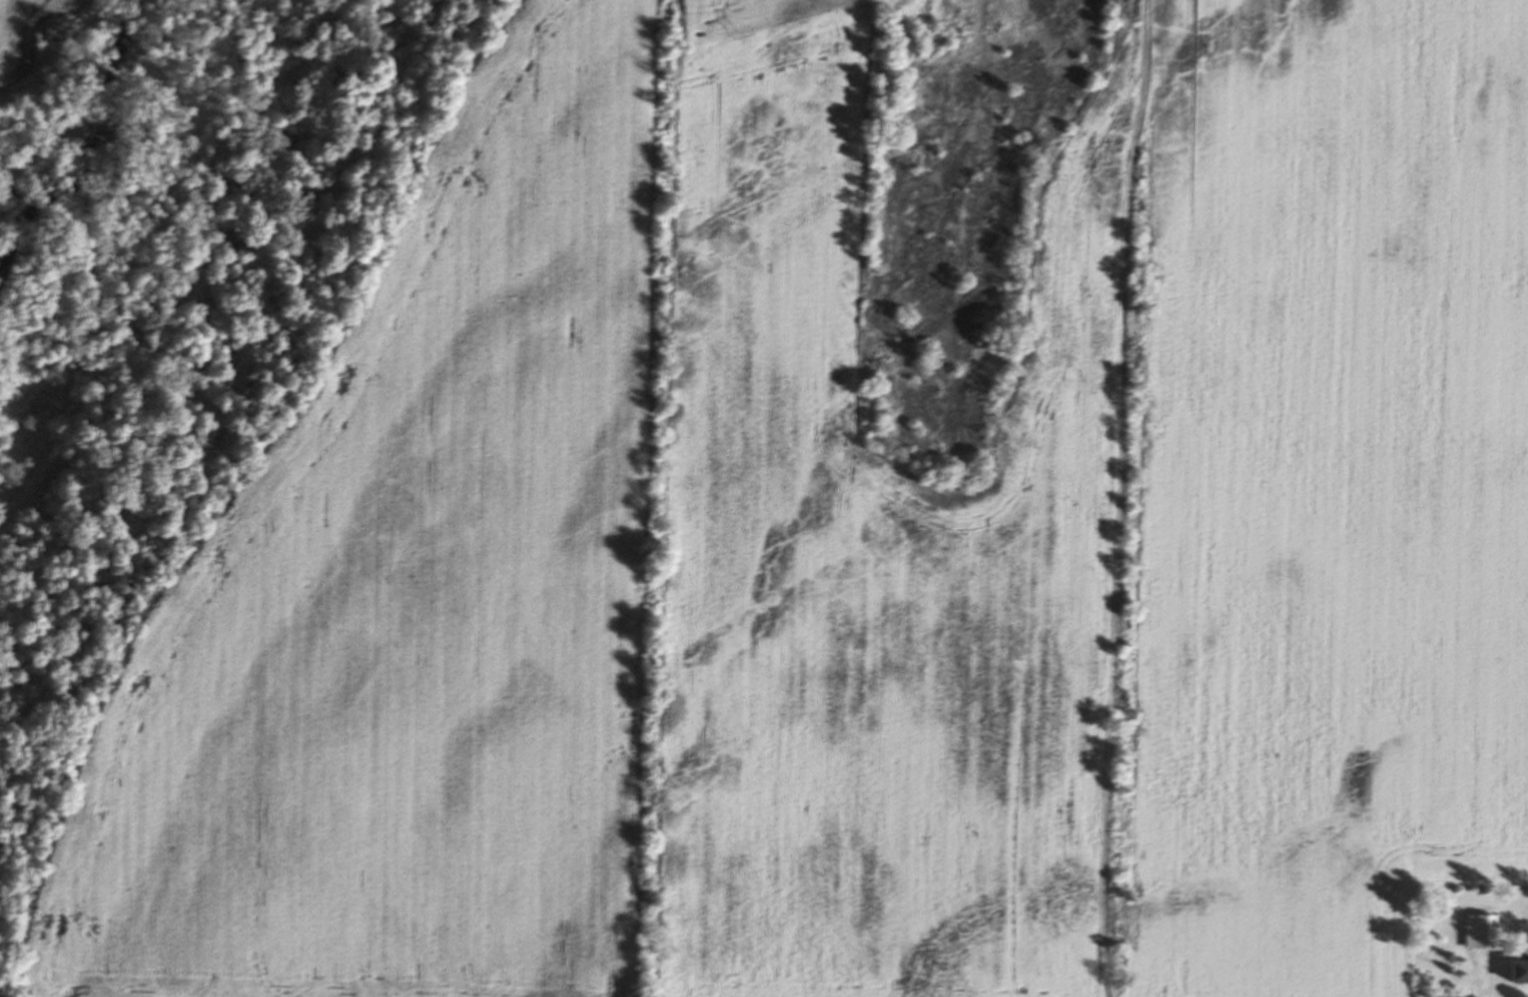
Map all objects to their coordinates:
building: (1467, 942)
building: (1519, 971)

